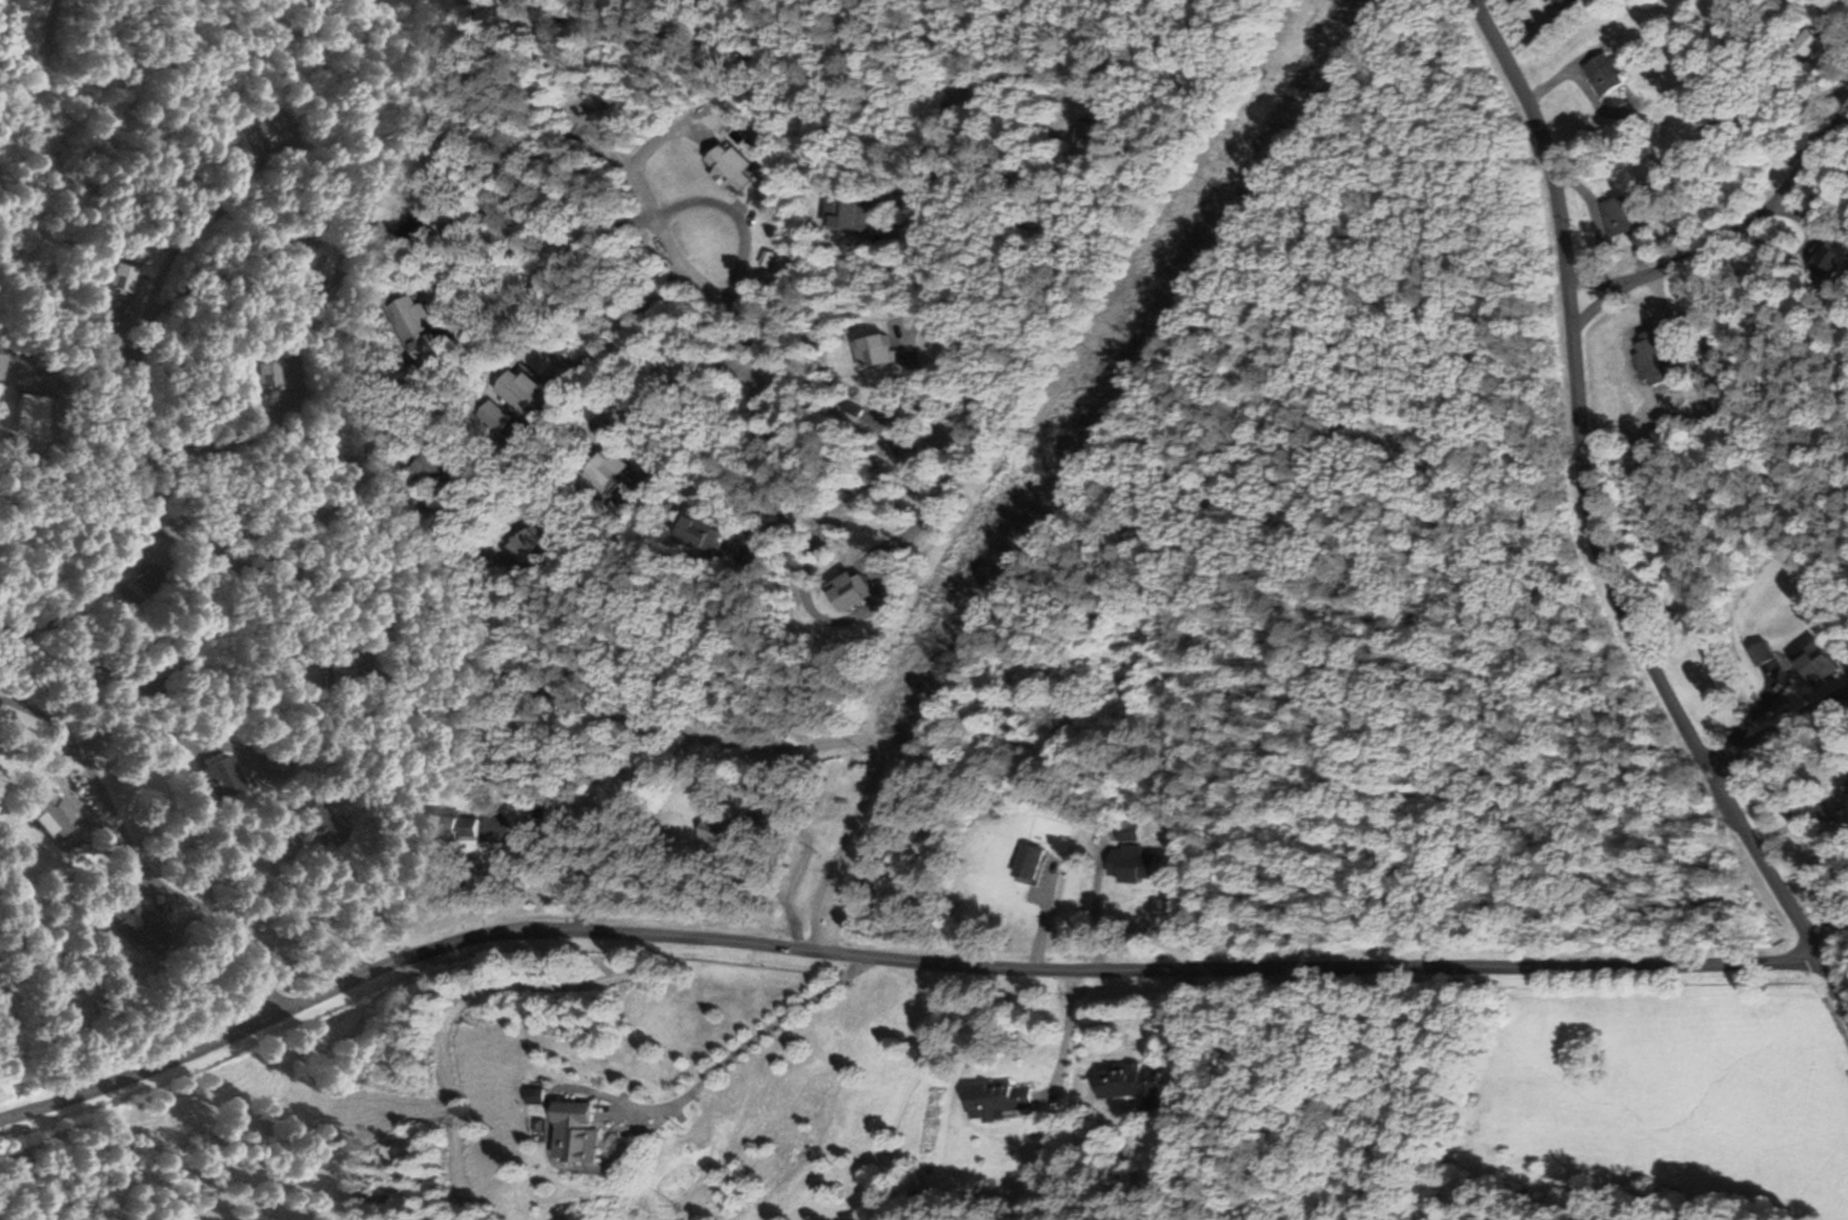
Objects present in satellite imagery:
building: (730, 166)
building: (848, 213)
building: (1620, 216)
road: (1733, 230)
building: (1830, 262)
building: (117, 277)
building: (411, 316)
building: (1651, 356)
building: (259, 374)
building: (518, 389)
building: (334, 447)
road: (906, 464)
building: (430, 465)
road: (1590, 523)
building: (701, 532)
building: (530, 545)
road: (99, 589)
road: (461, 630)
building: (1760, 653)
building: (1817, 663)
road: (1780, 727)
building: (217, 777)
building: (47, 815)
building: (452, 827)
building: (714, 829)
building: (312, 831)
building: (1127, 831)
road: (144, 847)
building: (1027, 864)
building: (1131, 864)
building: (132, 926)
road: (891, 958)
building: (1131, 1084)
building: (999, 1098)
building: (572, 1133)

